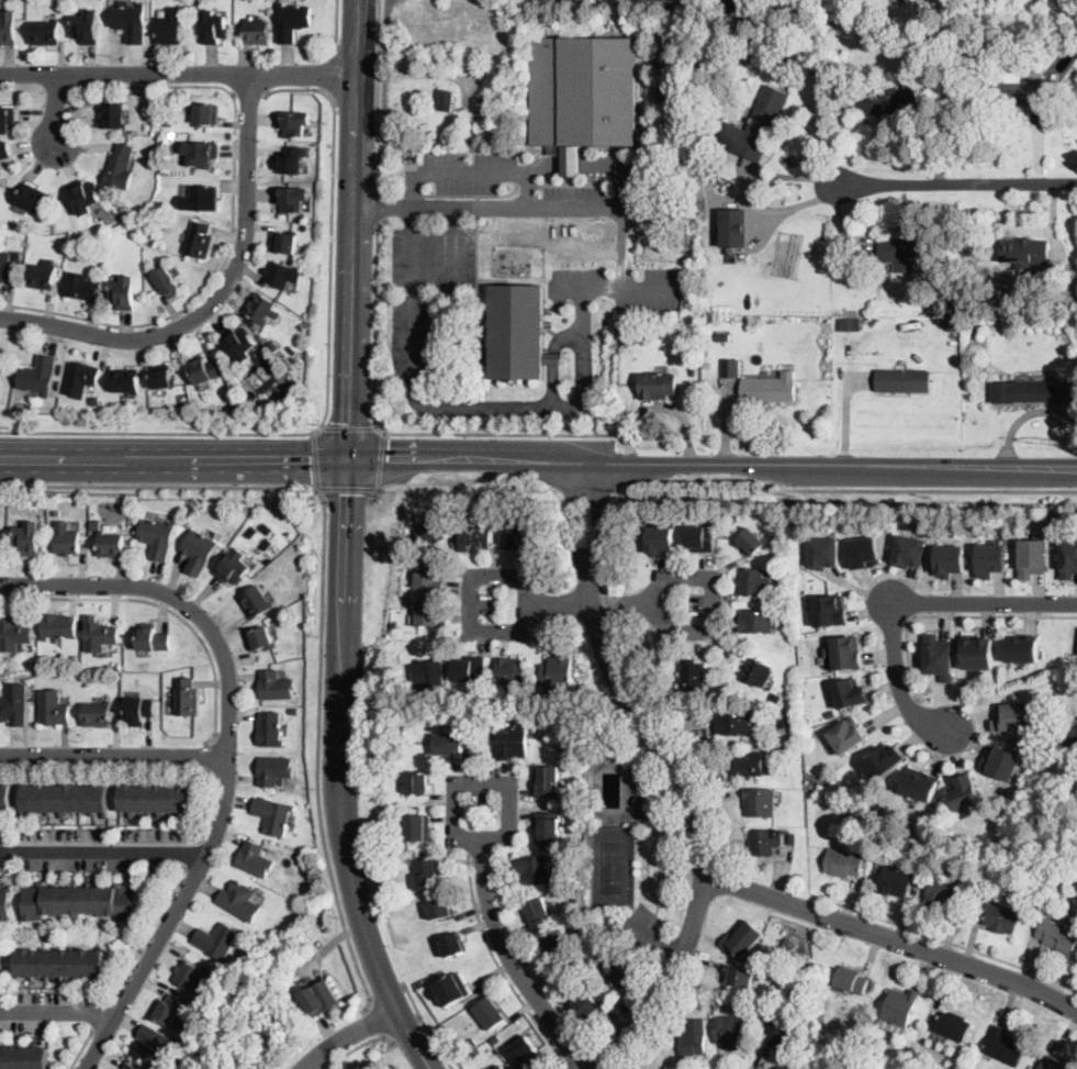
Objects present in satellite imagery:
building: (670, 0)
building: (741, 5)
building: (130, 21)
building: (293, 22)
road: (336, 23)
building: (87, 25)
building: (170, 26)
building: (215, 26)
building: (9, 27)
building: (714, 30)
building: (923, 30)
building: (46, 32)
building: (257, 32)
building: (1070, 37)
building: (925, 53)
building: (705, 58)
road: (335, 70)
road: (178, 74)
road: (23, 85)
road: (55, 88)
building: (1014, 89)
road: (248, 92)
building: (584, 92)
building: (445, 100)
building: (482, 101)
building: (886, 101)
road: (378, 102)
building: (1076, 102)
road: (57, 109)
building: (206, 114)
building: (113, 115)
building: (5, 119)
building: (154, 122)
building: (169, 122)
building: (294, 123)
building: (756, 127)
building: (166, 141)
building: (4, 151)
building: (201, 154)
building: (292, 160)
road: (579, 162)
building: (121, 168)
parking lot: (456, 170)
road: (472, 171)
road: (355, 172)
road: (955, 185)
road: (412, 189)
building: (86, 196)
building: (32, 198)
building: (200, 199)
building: (292, 199)
parking lot: (573, 200)
road: (382, 202)
road: (528, 208)
road: (232, 216)
building: (733, 226)
road: (1030, 229)
building: (200, 240)
building: (285, 242)
road: (452, 247)
building: (909, 249)
building: (1025, 253)
building: (75, 256)
building: (5, 266)
building: (956, 274)
building: (282, 275)
building: (42, 276)
building: (169, 282)
building: (82, 287)
parking lot: (620, 288)
parking lot: (424, 290)
road: (617, 290)
building: (123, 293)
road: (412, 293)
road: (217, 298)
building: (260, 308)
building: (947, 309)
building: (850, 324)
building: (953, 324)
building: (621, 326)
building: (518, 331)
building: (722, 337)
building: (240, 343)
building: (274, 347)
road: (551, 356)
building: (732, 366)
building: (204, 369)
building: (40, 375)
building: (81, 378)
building: (162, 378)
building: (126, 380)
building: (902, 380)
building: (658, 386)
road: (327, 387)
building: (770, 389)
building: (1034, 391)
building: (97, 401)
road: (350, 402)
road: (659, 404)
road: (541, 409)
road: (348, 427)
road: (383, 431)
road: (173, 458)
road: (315, 459)
traffic signals: (349, 459)
road: (380, 459)
road: (713, 464)
road: (347, 488)
road: (931, 488)
road: (371, 494)
building: (57, 510)
building: (182, 511)
road: (598, 512)
building: (688, 512)
road: (574, 513)
building: (733, 517)
building: (96, 525)
building: (433, 531)
building: (516, 533)
building: (158, 537)
building: (67, 538)
building: (474, 538)
building: (29, 539)
building: (661, 539)
building: (699, 539)
building: (751, 543)
building: (111, 545)
building: (274, 547)
building: (909, 548)
building: (824, 550)
building: (199, 552)
building: (863, 552)
building: (1031, 556)
building: (949, 558)
building: (989, 558)
building: (1069, 558)
building: (258, 567)
building: (234, 568)
building: (429, 574)
building: (754, 582)
building: (788, 587)
road: (323, 594)
building: (256, 601)
road: (591, 602)
road: (906, 604)
road: (162, 605)
building: (829, 608)
building: (428, 613)
road: (953, 614)
building: (756, 621)
building: (59, 626)
building: (394, 626)
building: (13, 634)
building: (100, 635)
building: (262, 638)
building: (155, 639)
building: (395, 639)
building: (1023, 647)
building: (977, 649)
building: (848, 652)
building: (940, 656)
building: (469, 669)
building: (429, 672)
building: (512, 672)
building: (758, 672)
building: (558, 673)
building: (692, 677)
building: (276, 686)
building: (851, 692)
building: (188, 697)
building: (392, 700)
building: (14, 704)
building: (54, 708)
building: (141, 710)
building: (412, 713)
building: (98, 714)
building: (1012, 715)
building: (734, 723)
building: (270, 730)
building: (482, 730)
building: (846, 735)
building: (1069, 735)
building: (513, 742)
building: (449, 744)
road: (229, 751)
road: (114, 755)
road: (210, 757)
building: (1001, 760)
building: (885, 761)
building: (749, 764)
road: (142, 769)
building: (276, 770)
road: (340, 772)
road: (480, 780)
building: (547, 781)
building: (920, 782)
building: (418, 783)
building: (966, 791)
building: (5, 799)
building: (67, 800)
building: (158, 800)
building: (760, 801)
building: (644, 808)
building: (274, 815)
road: (699, 821)
building: (418, 827)
building: (548, 828)
building: (793, 839)
building: (765, 840)
road: (103, 853)
road: (191, 855)
building: (388, 858)
building: (255, 859)
building: (843, 862)
building: (535, 871)
building: (427, 873)
building: (895, 881)
building: (1026, 888)
building: (570, 890)
building: (945, 894)
building: (242, 901)
building: (80, 902)
building: (4, 904)
building: (441, 909)
building: (538, 911)
building: (998, 918)
building: (562, 928)
road: (146, 936)
road: (946, 937)
building: (1058, 937)
road: (893, 938)
building: (742, 939)
building: (217, 940)
building: (789, 944)
building: (453, 945)
building: (557, 948)
building: (779, 953)
building: (587, 954)
road: (511, 961)
building: (59, 964)
building: (577, 967)
road: (498, 968)
building: (806, 968)
building: (619, 972)
building: (740, 976)
building: (191, 977)
building: (851, 980)
building: (451, 989)
road: (386, 992)
building: (322, 995)
building: (215, 996)
building: (590, 1004)
building: (900, 1006)
building: (169, 1009)
road: (57, 1013)
building: (491, 1013)
road: (99, 1017)
road: (374, 1022)
building: (952, 1025)
road: (427, 1027)
road: (406, 1031)
building: (731, 1032)
building: (781, 1033)
road: (349, 1036)
building: (694, 1038)
building: (495, 1040)
building: (156, 1044)
building: (471, 1044)
building: (1003, 1046)
road: (360, 1047)
road: (82, 1049)
building: (526, 1053)
building: (479, 1054)
building: (23, 1057)
building: (1054, 1064)
building: (130, 1066)
building: (178, 1067)
building: (495, 1068)
building: (502, 1068)
building: (785, 1068)

